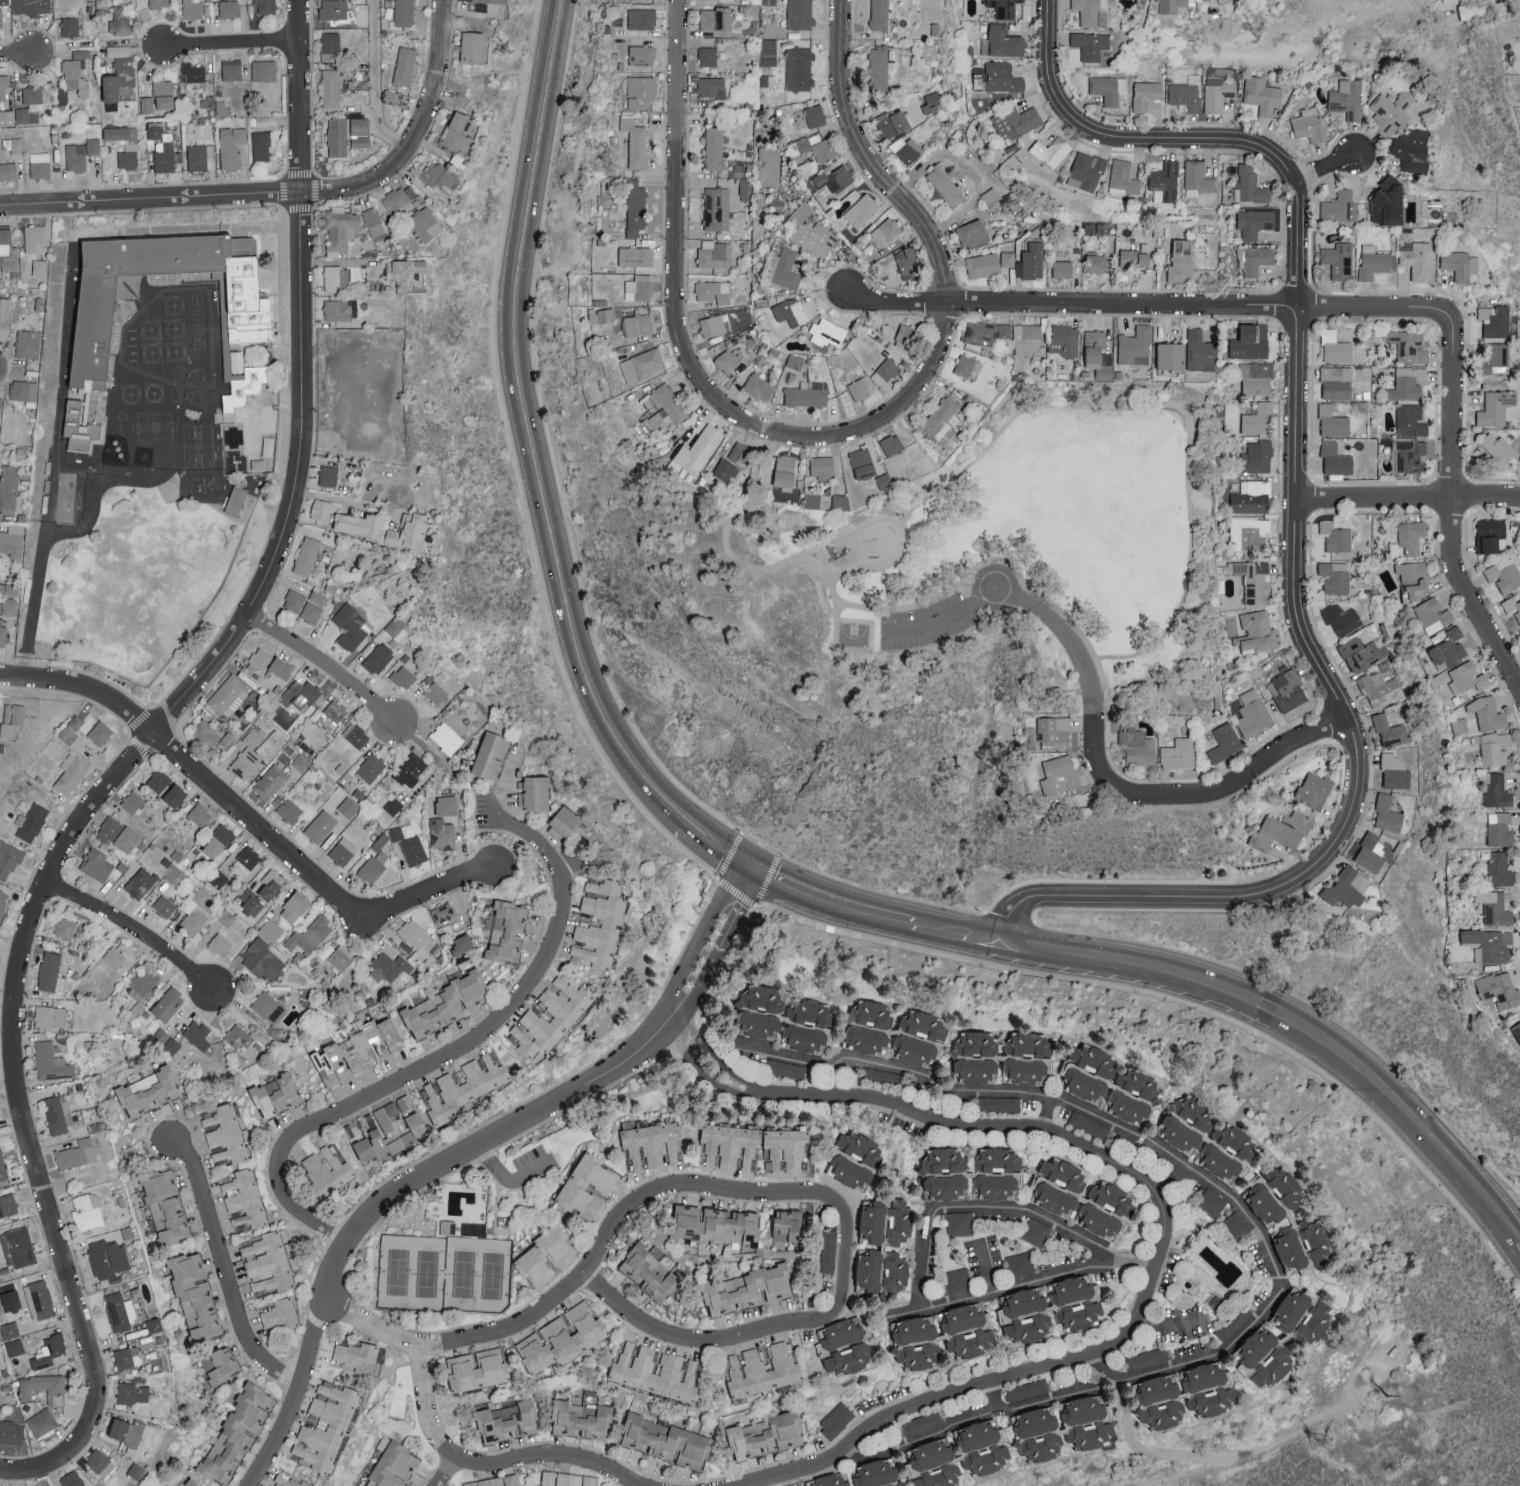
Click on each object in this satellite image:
building: (480, 0)
building: (1204, 0)
building: (4, 1)
building: (1223, 1)
building: (158, 3)
building: (1170, 5)
building: (265, 6)
building: (30, 7)
building: (229, 7)
building: (192, 8)
building: (1004, 8)
building: (333, 9)
building: (1473, 9)
building: (403, 12)
building: (1090, 13)
building: (800, 14)
building: (879, 14)
building: (1, 17)
building: (641, 18)
building: (716, 18)
building: (119, 21)
building: (70, 26)
building: (1002, 41)
building: (330, 44)
building: (1090, 44)
building: (473, 46)
road: (232, 47)
building: (768, 51)
building: (929, 52)
road: (19, 55)
building: (708, 55)
building: (641, 56)
building: (405, 66)
building: (798, 68)
building: (879, 68)
building: (232, 69)
building: (264, 70)
building: (76, 72)
building: (194, 72)
building: (119, 74)
building: (1002, 77)
road: (369, 86)
building: (711, 86)
building: (4, 87)
building: (331, 88)
building: (1109, 88)
building: (641, 91)
building: (1218, 93)
building: (164, 94)
building: (1146, 94)
building: (1262, 94)
building: (392, 97)
building: (1347, 98)
building: (932, 102)
building: (147, 104)
building: (36, 105)
building: (1392, 110)
building: (815, 115)
building: (7, 117)
building: (1016, 121)
building: (892, 123)
building: (1309, 123)
building: (359, 126)
building: (117, 132)
building: (459, 132)
road: (417, 135)
building: (337, 137)
building: (360, 141)
building: (635, 141)
building: (15, 145)
building: (261, 145)
building: (161, 146)
building: (231, 146)
building: (714, 147)
building: (822, 148)
building: (906, 149)
building: (1412, 149)
building: (1051, 150)
building: (81, 153)
building: (128, 156)
building: (200, 156)
building: (40, 165)
building: (769, 165)
building: (808, 167)
road: (1326, 168)
building: (8, 170)
building: (1087, 171)
building: (438, 176)
building: (1124, 178)
building: (1197, 178)
building: (834, 180)
building: (1165, 182)
building: (945, 185)
building: (1249, 185)
building: (411, 191)
road: (149, 198)
building: (396, 198)
building: (1388, 201)
building: (635, 207)
building: (1340, 207)
building: (717, 208)
building: (864, 210)
building: (801, 211)
road: (917, 218)
building: (373, 221)
building: (425, 223)
building: (1255, 223)
building: (339, 228)
building: (886, 231)
building: (973, 233)
building: (34, 236)
building: (5, 239)
building: (815, 239)
building: (715, 253)
building: (635, 256)
building: (1135, 256)
building: (1417, 258)
building: (1338, 259)
building: (1255, 260)
building: (1031, 261)
building: (1181, 261)
building: (1372, 261)
building: (907, 262)
building: (8, 263)
building: (988, 263)
building: (1096, 263)
building: (1459, 264)
building: (39, 267)
building: (783, 268)
building: (1062, 268)
building: (407, 272)
building: (336, 277)
building: (639, 287)
building: (714, 291)
road: (675, 292)
road: (1153, 302)
building: (340, 309)
building: (790, 311)
building: (601, 315)
building: (4, 316)
building: (1494, 320)
building: (638, 324)
building: (712, 325)
building: (986, 332)
building: (826, 333)
building: (904, 336)
building: (1027, 338)
building: (1065, 340)
building: (1250, 341)
building: (28, 342)
building: (1135, 346)
building: (1410, 346)
building: (1335, 347)
building: (1200, 351)
building: (1098, 354)
building: (1171, 355)
building: (1495, 359)
building: (726, 361)
building: (88, 363)
building: (641, 365)
building: (966, 365)
road: (386, 367)
building: (885, 371)
building: (1256, 379)
building: (1410, 381)
building: (1336, 382)
building: (759, 386)
building: (859, 389)
building: (23, 390)
building: (807, 393)
building: (669, 405)
building: (0, 407)
building: (1495, 407)
road: (1129, 409)
building: (1258, 418)
building: (1411, 420)
building: (1333, 421)
building: (259, 444)
building: (892, 444)
building: (699, 449)
building: (1498, 449)
building: (1409, 455)
building: (1257, 456)
building: (1335, 459)
building: (862, 463)
building: (821, 467)
road: (536, 469)
building: (725, 469)
building: (785, 471)
building: (328, 476)
building: (884, 481)
building: (8, 488)
road: (1407, 494)
building: (1251, 497)
building: (812, 499)
road: (347, 501)
building: (840, 502)
building: (66, 503)
building: (235, 507)
building: (321, 509)
road: (1452, 516)
building: (359, 524)
road: (1294, 526)
building: (408, 531)
building: (1248, 532)
building: (1490, 534)
park: (1005, 536)
building: (1336, 536)
building: (1411, 536)
building: (13, 540)
building: (307, 556)
road: (761, 569)
building: (1504, 576)
building: (1335, 577)
building: (1414, 578)
building: (1255, 581)
building: (12, 589)
building: (294, 600)
building: (10, 606)
road: (36, 606)
building: (1512, 606)
building: (311, 612)
building: (1433, 615)
road: (948, 618)
building: (1341, 618)
parking lot: (929, 624)
building: (351, 626)
building: (397, 629)
building: (1257, 632)
building: (2, 633)
park: (855, 636)
building: (1449, 648)
building: (1363, 652)
building: (379, 657)
building: (259, 660)
road: (321, 663)
building: (281, 667)
building: (403, 677)
building: (1467, 677)
building: (1380, 688)
building: (1289, 690)
building: (436, 693)
building: (300, 695)
building: (228, 696)
building: (1487, 712)
building: (1253, 713)
building: (332, 715)
building: (12, 720)
building: (76, 722)
building: (1459, 725)
building: (1390, 730)
building: (100, 732)
building: (1053, 732)
building: (206, 733)
building: (68, 734)
building: (355, 734)
building: (254, 736)
building: (447, 737)
building: (227, 740)
building: (1225, 742)
road: (427, 747)
building: (1137, 747)
building: (1495, 748)
road: (139, 749)
building: (1178, 753)
building: (491, 755)
building: (245, 762)
building: (371, 767)
building: (71, 773)
building: (1394, 773)
building: (1059, 775)
building: (270, 781)
building: (167, 788)
road: (1115, 789)
building: (1314, 789)
building: (1496, 790)
building: (533, 793)
building: (132, 802)
building: (447, 805)
building: (349, 807)
building: (289, 810)
building: (1387, 813)
building: (200, 814)
road: (249, 818)
building: (31, 822)
building: (564, 823)
building: (320, 826)
building: (1499, 829)
building: (1282, 830)
building: (402, 832)
building: (442, 834)
building: (118, 835)
building: (218, 841)
building: (413, 850)
building: (343, 851)
building: (1373, 853)
building: (249, 857)
building: (9, 859)
building: (96, 864)
building: (371, 869)
building: (1499, 869)
traffic signals: (749, 874)
building: (140, 882)
building: (270, 885)
building: (1347, 888)
building: (3, 902)
building: (250, 902)
building: (163, 905)
building: (296, 907)
building: (1494, 907)
building: (442, 912)
building: (194, 917)
road: (872, 919)
building: (610, 925)
building: (67, 928)
building: (271, 929)
road: (134, 931)
building: (507, 932)
building: (308, 937)
building: (420, 939)
building: (220, 944)
building: (462, 944)
building: (1489, 944)
building: (114, 957)
building: (341, 958)
building: (263, 959)
building: (389, 967)
building: (49, 971)
building: (143, 980)
building: (1499, 989)
building: (168, 1005)
building: (443, 1006)
building: (269, 1008)
building: (775, 1013)
building: (50, 1016)
building: (550, 1018)
road: (1301, 1026)
building: (869, 1027)
building: (1517, 1030)
building: (198, 1034)
building: (239, 1037)
building: (806, 1038)
building: (171, 1045)
building: (354, 1052)
road: (451, 1056)
building: (1002, 1057)
road: (798, 1059)
building: (51, 1062)
road: (873, 1062)
building: (785, 1068)
building: (465, 1087)
building: (148, 1091)
road: (1000, 1093)
building: (276, 1095)
building: (1000, 1103)
building: (58, 1114)
building: (1194, 1115)
building: (1089, 1125)
building: (225, 1133)
building: (390, 1134)
building: (1180, 1135)
building: (1235, 1143)
building: (653, 1144)
building: (730, 1145)
building: (785, 1148)
building: (76, 1154)
road: (468, 1154)
building: (855, 1157)
building: (1220, 1162)
building: (2, 1166)
parking lot: (530, 1168)
building: (327, 1170)
building: (998, 1171)
building: (945, 1172)
road: (508, 1185)
building: (587, 1185)
building: (1274, 1195)
building: (1081, 1196)
building: (245, 1197)
building: (1210, 1201)
building: (167, 1203)
road: (1153, 1203)
building: (8, 1204)
building: (87, 1209)
road: (977, 1209)
building: (157, 1215)
building: (875, 1220)
building: (899, 1220)
building: (959, 1222)
building: (714, 1223)
building: (787, 1224)
building: (1235, 1225)
building: (448, 1226)
road: (1260, 1230)
building: (1036, 1231)
building: (1303, 1245)
building: (17, 1246)
building: (828, 1251)
building: (545, 1254)
building: (108, 1258)
building: (268, 1261)
building: (1020, 1263)
building: (896, 1269)
building: (649, 1270)
road: (229, 1274)
park: (442, 1274)
building: (956, 1280)
road: (1021, 1281)
road: (576, 1286)
building: (747, 1288)
building: (196, 1292)
building: (41, 1298)
building: (1050, 1307)
building: (120, 1311)
building: (280, 1313)
building: (1303, 1314)
road: (1169, 1325)
building: (969, 1328)
building: (9, 1330)
building: (840, 1333)
road: (768, 1336)
building: (562, 1337)
building: (915, 1341)
building: (14, 1346)
building: (49, 1350)
power substation: (1390, 1354)
building: (357, 1356)
building: (1265, 1356)
building: (127, 1357)
building: (1146, 1358)
building: (220, 1363)
building: (631, 1366)
building: (477, 1368)
power tower: (1368, 1368)
building: (762, 1369)
building: (44, 1387)
building: (1026, 1389)
building: (133, 1392)
building: (1186, 1393)
power tower: (1389, 1397)
road: (994, 1401)
building: (582, 1419)
building: (836, 1419)
building: (507, 1420)
road: (969, 1420)
building: (42, 1421)
building: (923, 1422)
building: (337, 1426)
building: (1064, 1427)
building: (126, 1430)
building: (11, 1431)
building: (237, 1432)
building: (765, 1435)
building: (666, 1440)
power tower: (1319, 1443)
building: (959, 1454)
building: (100, 1462)
building: (393, 1465)
road: (15, 1471)
building: (136, 1471)
road: (477, 1473)
building: (864, 1475)
road: (443, 1476)
building: (72, 1479)
building: (567, 1479)
building: (288, 1481)
building: (495, 1481)
building: (191, 1483)
building: (46, 1485)

